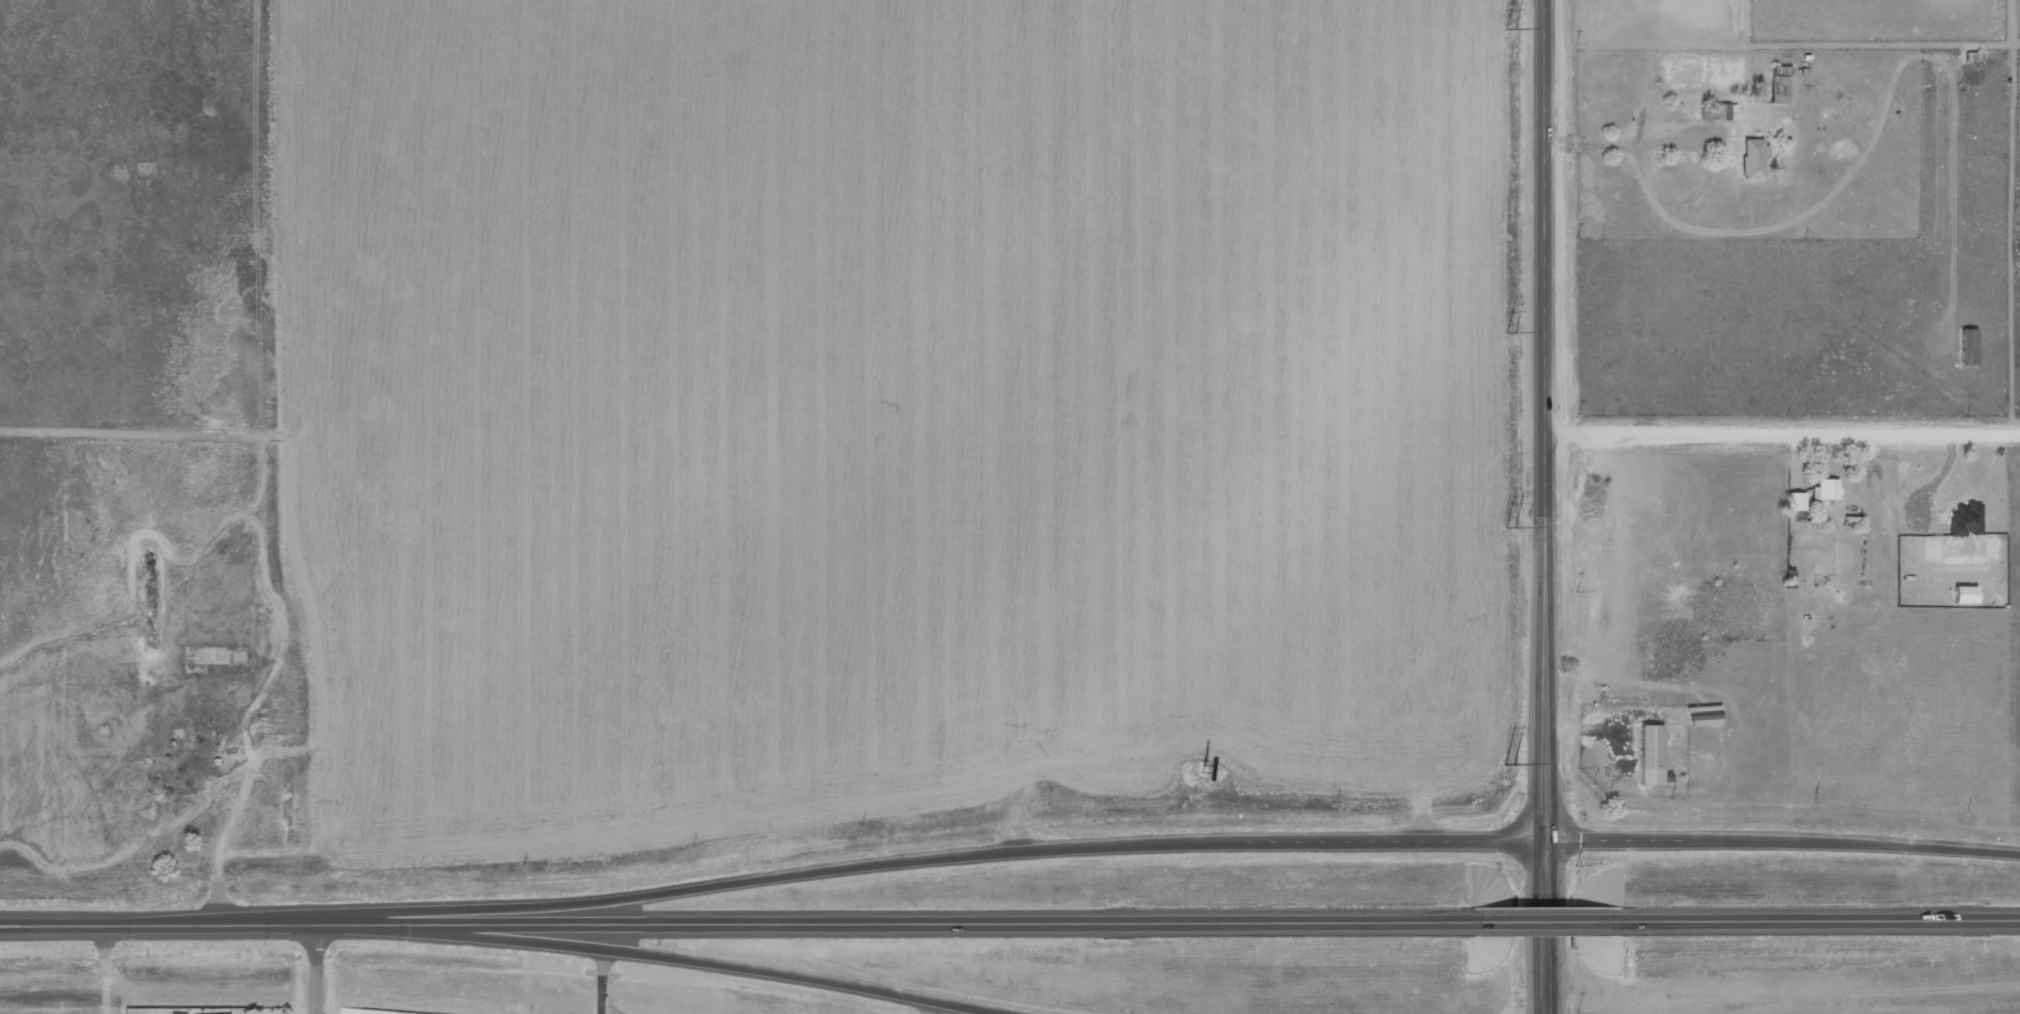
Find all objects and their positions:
road: (2017, 44)
building: (1776, 93)
building: (1707, 112)
building: (1722, 113)
building: (1753, 159)
power tower: (1508, 228)
building: (1968, 348)
road: (1783, 439)
building: (1825, 491)
building: (1796, 505)
road: (1546, 507)
building: (1964, 521)
power tower: (1509, 547)
building: (1964, 596)
building: (1704, 716)
building: (1652, 756)
road: (1782, 844)
road: (971, 859)
power tower: (1511, 867)
road: (1820, 924)
road: (1543, 925)
road: (175, 927)
road: (377, 928)
road: (934, 928)
road: (669, 961)
road: (319, 971)

